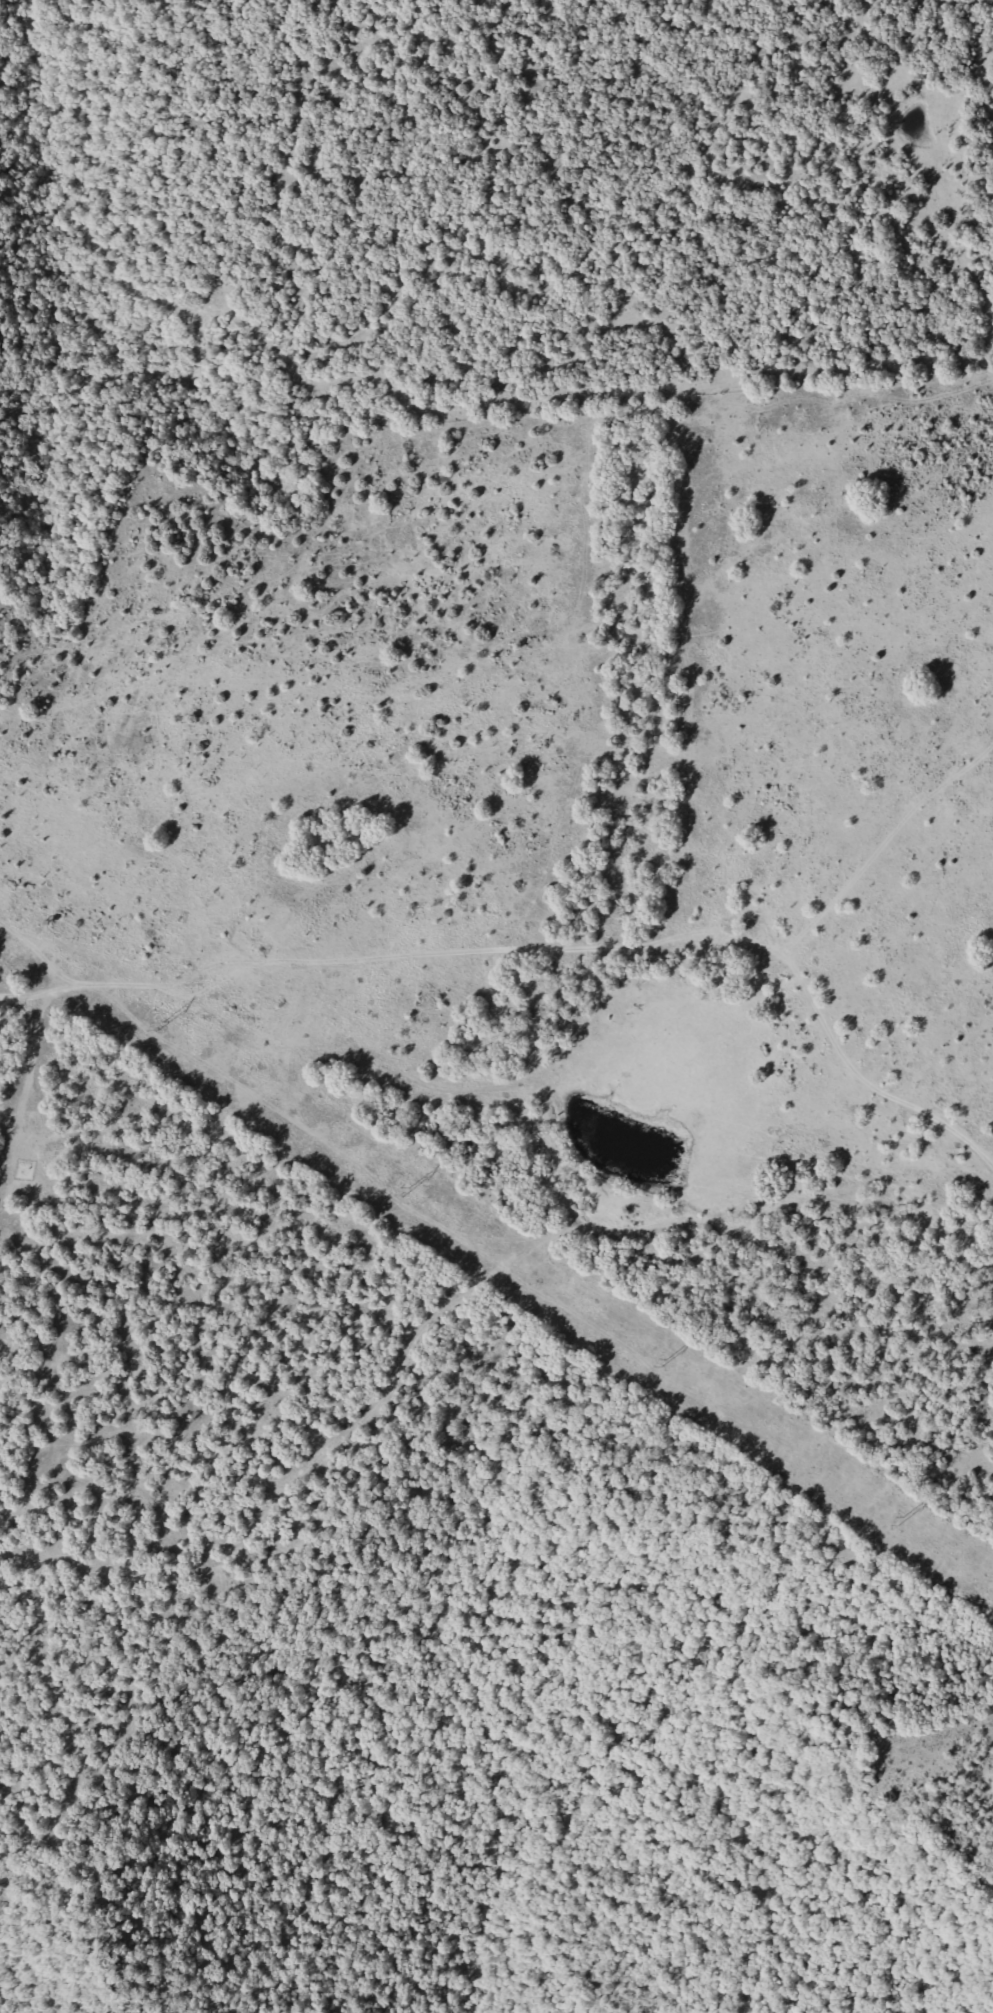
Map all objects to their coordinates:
power tower: (157, 1026)
road: (936, 1166)
power tower: (402, 1193)
power tower: (660, 1365)
power tower: (894, 1523)

